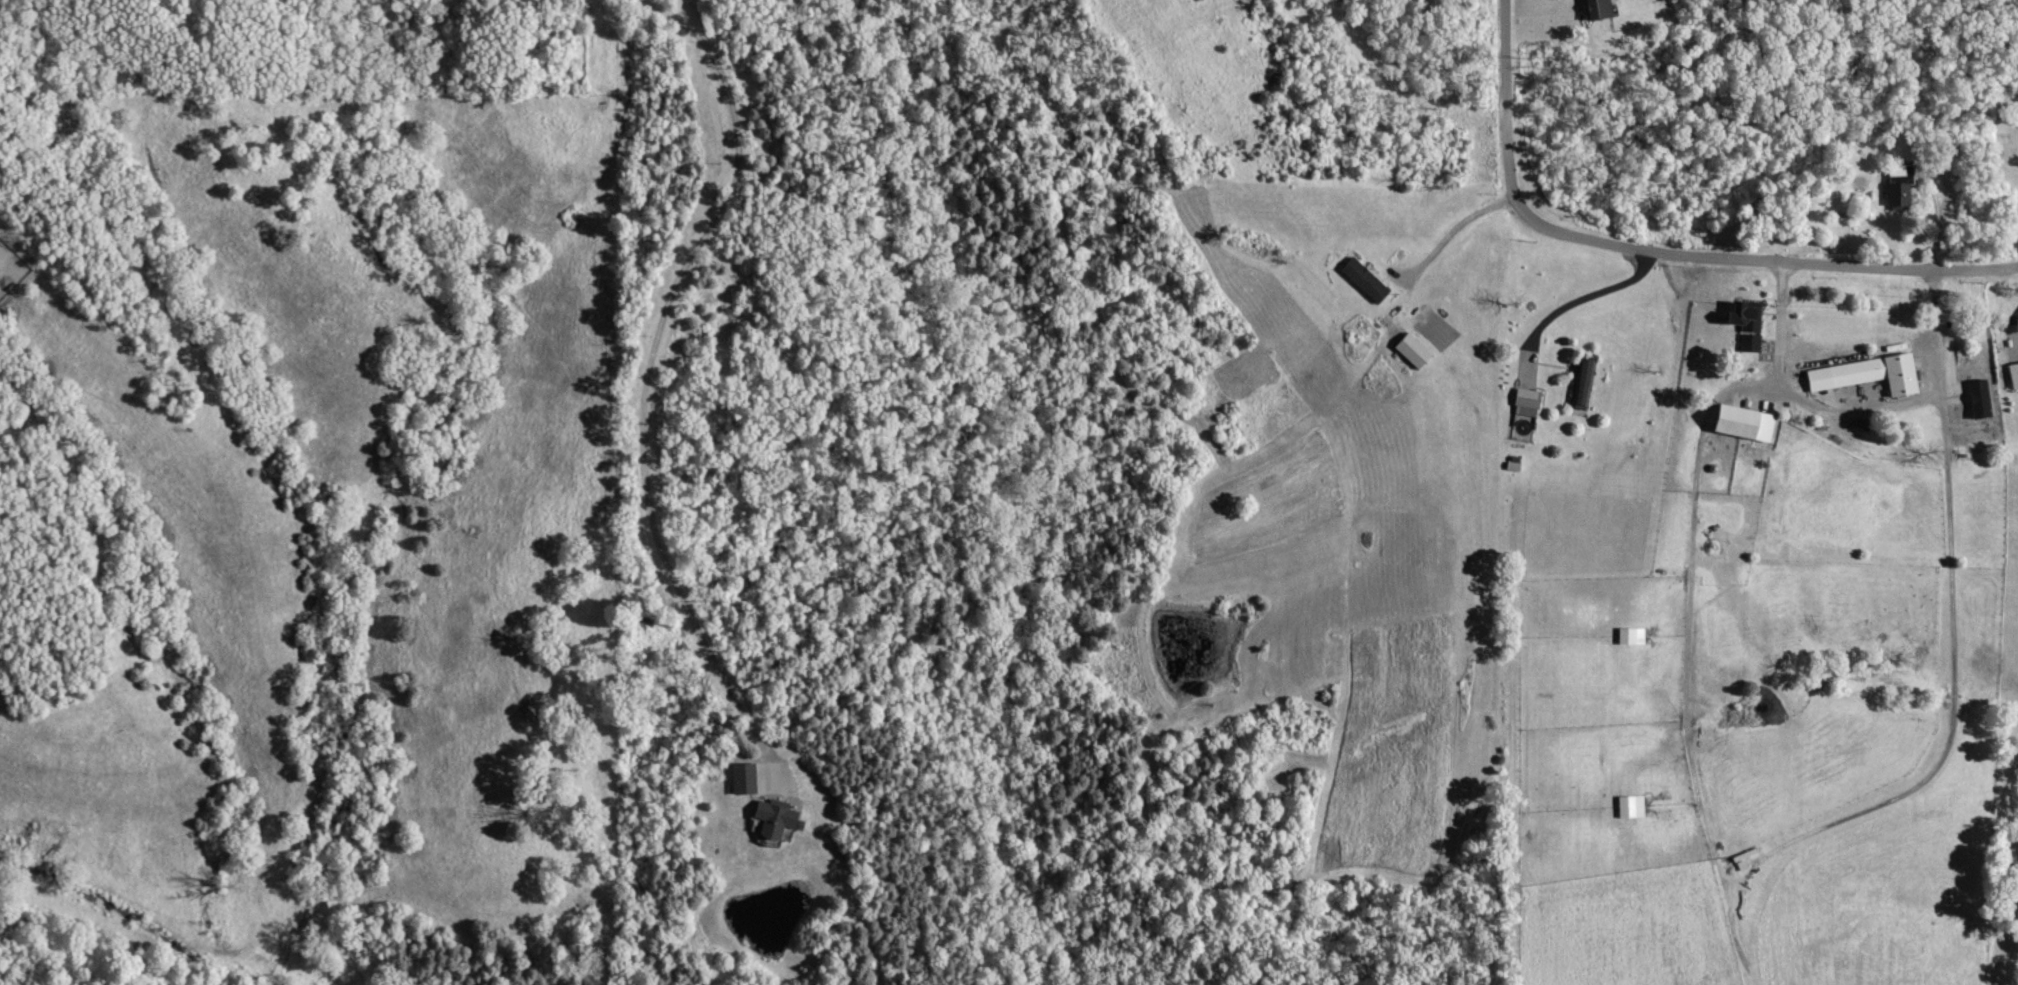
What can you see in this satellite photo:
building: (1593, 9)
building: (1896, 189)
road: (1452, 228)
road: (1659, 252)
building: (1361, 280)
road: (1587, 296)
building: (1741, 324)
building: (1408, 351)
road: (647, 372)
building: (1862, 375)
building: (2012, 376)
building: (1581, 383)
building: (1523, 399)
building: (1976, 399)
road: (1857, 410)
building: (1737, 424)
building: (1628, 635)
road: (1681, 663)
building: (748, 778)
building: (1628, 806)
building: (782, 817)

